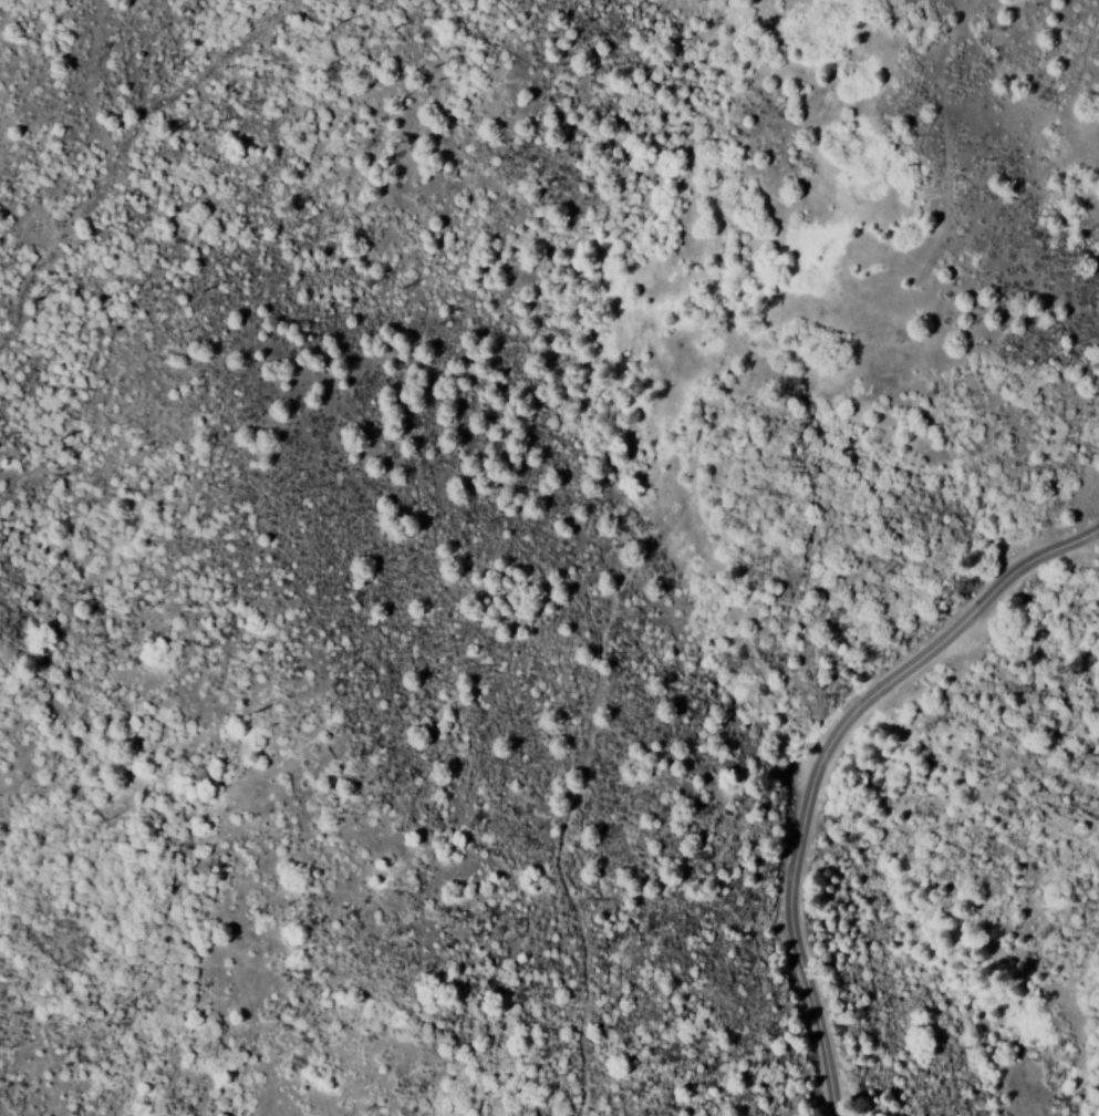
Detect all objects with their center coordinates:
road: (823, 759)

